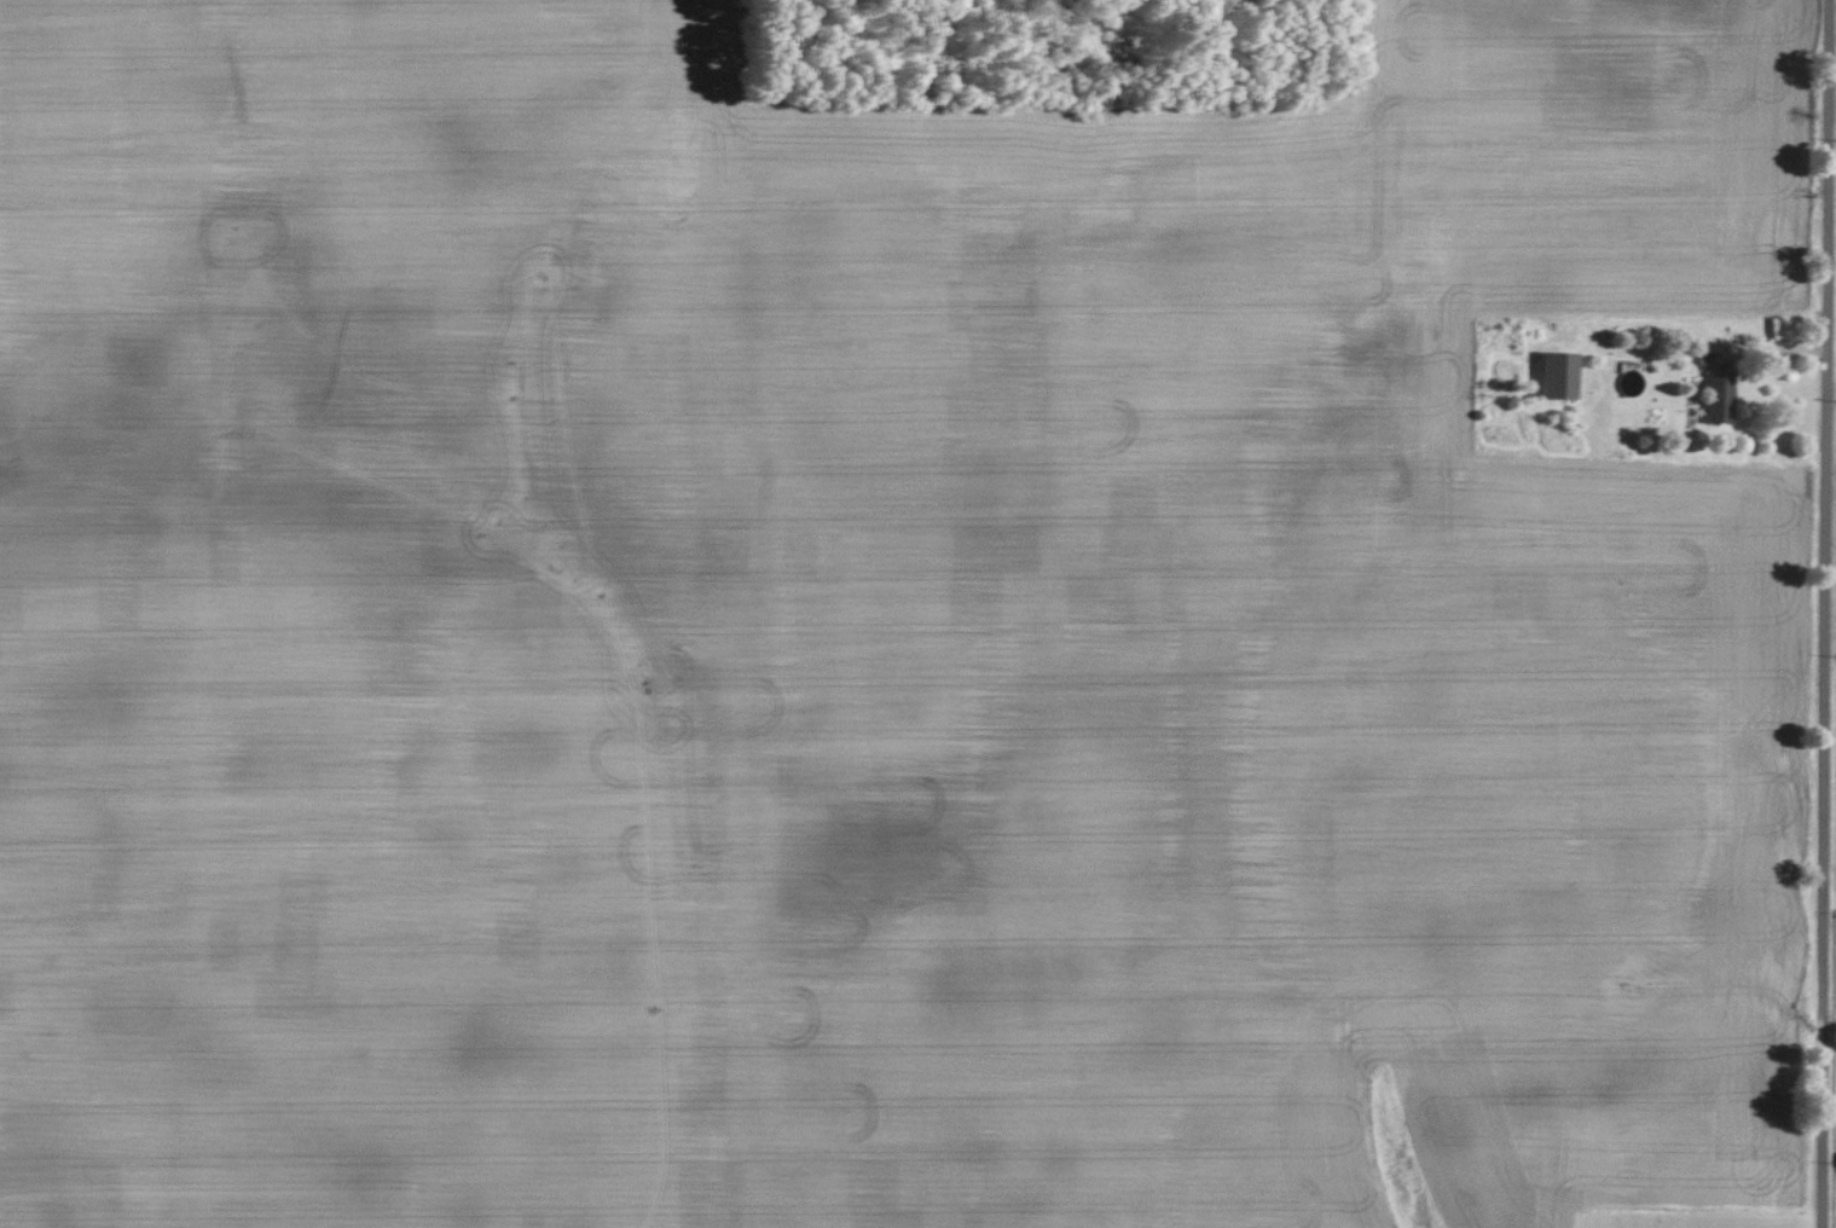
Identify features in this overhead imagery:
building: (1553, 376)
building: (1715, 399)
road: (1824, 614)

